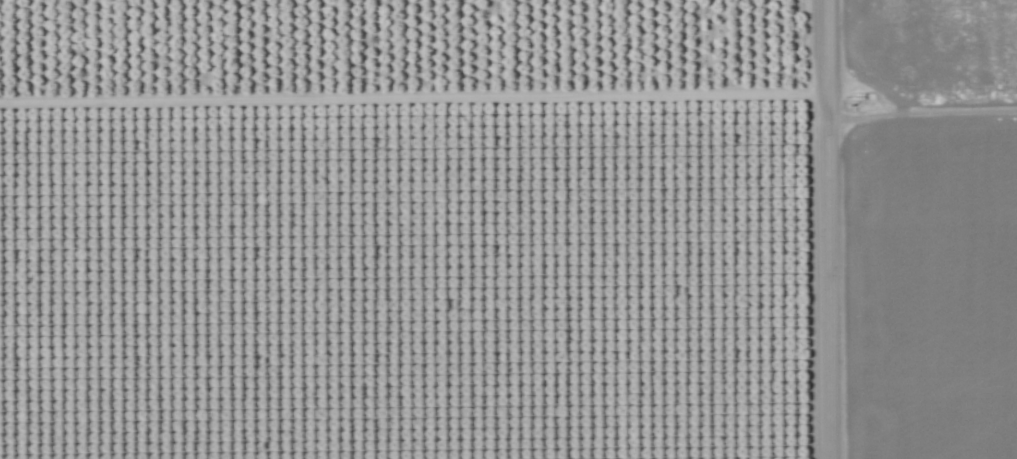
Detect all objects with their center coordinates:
road: (828, 229)
crop: (933, 230)

